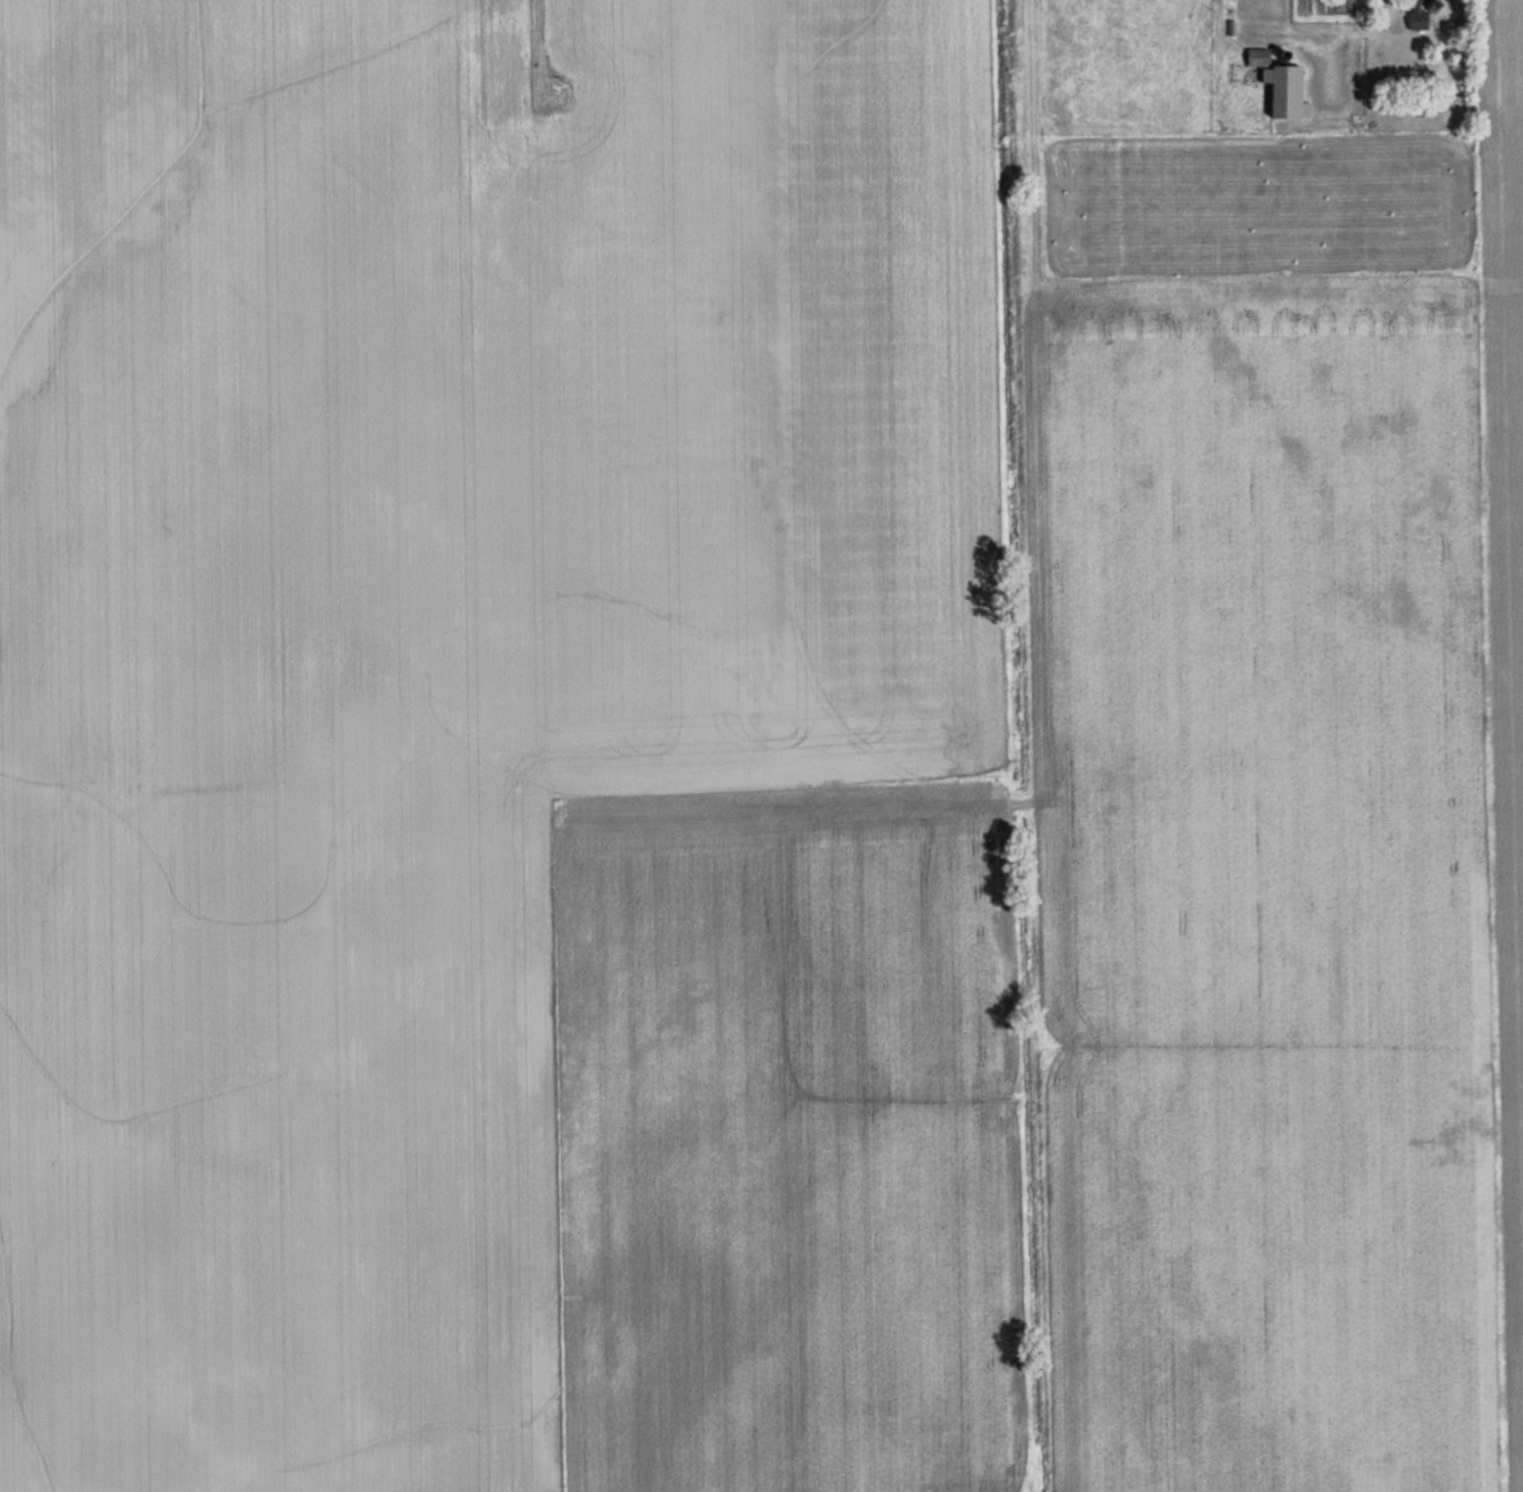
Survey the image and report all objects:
building: (1417, 15)
building: (500, 62)
building: (1280, 84)

